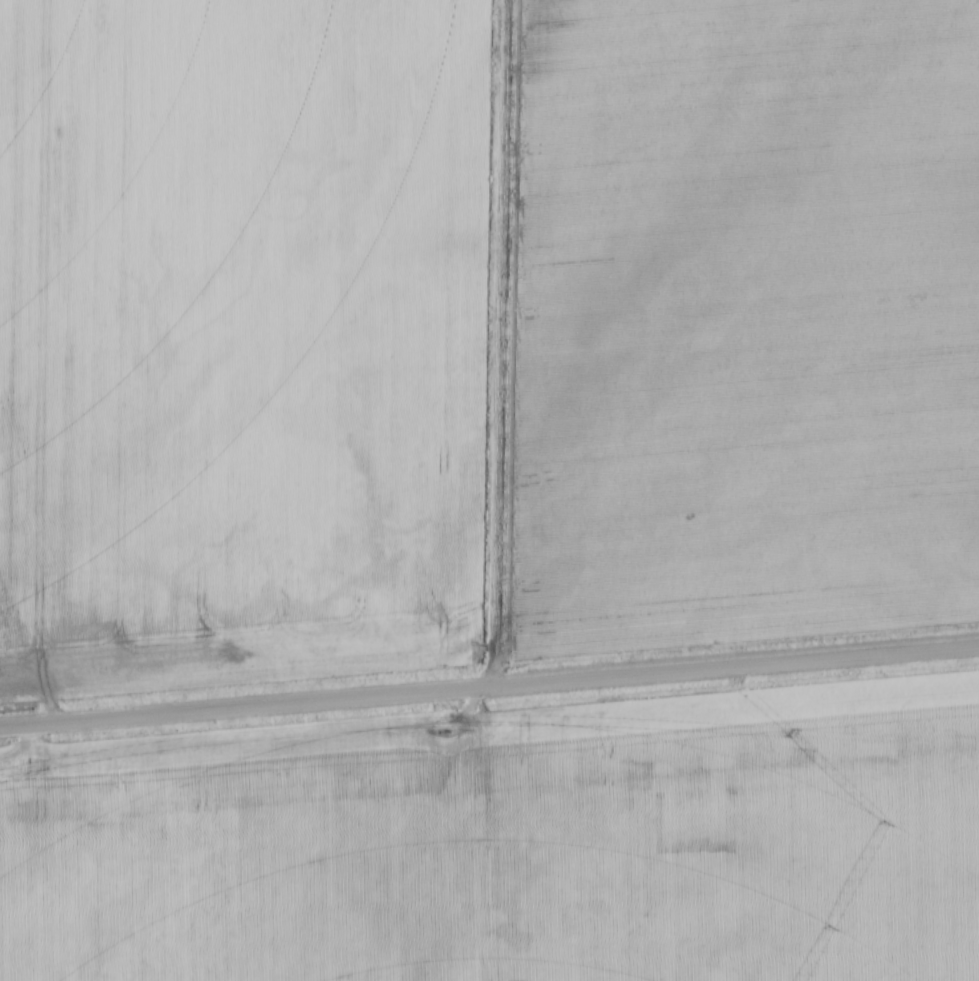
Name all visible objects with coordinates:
crop: (480, 328)
road: (489, 689)
crop: (512, 842)

